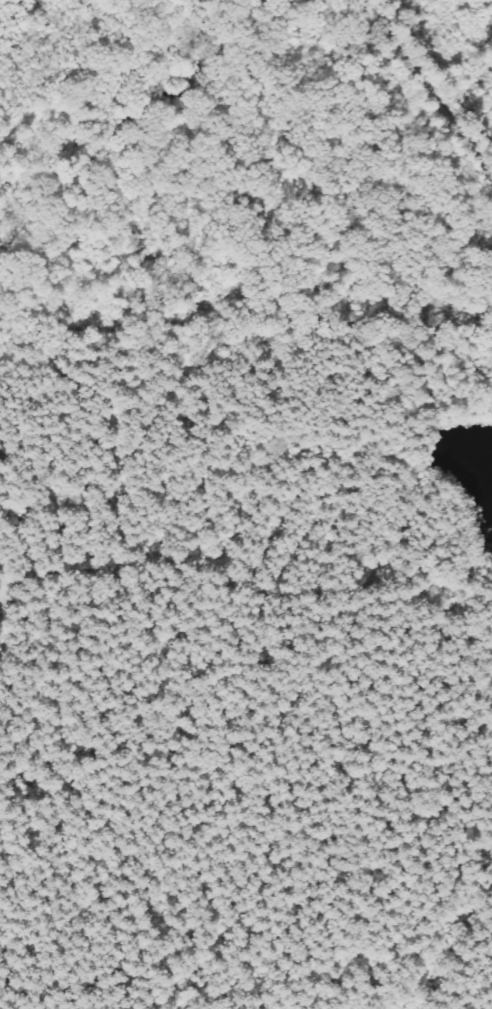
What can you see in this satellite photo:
road: (416, 97)

